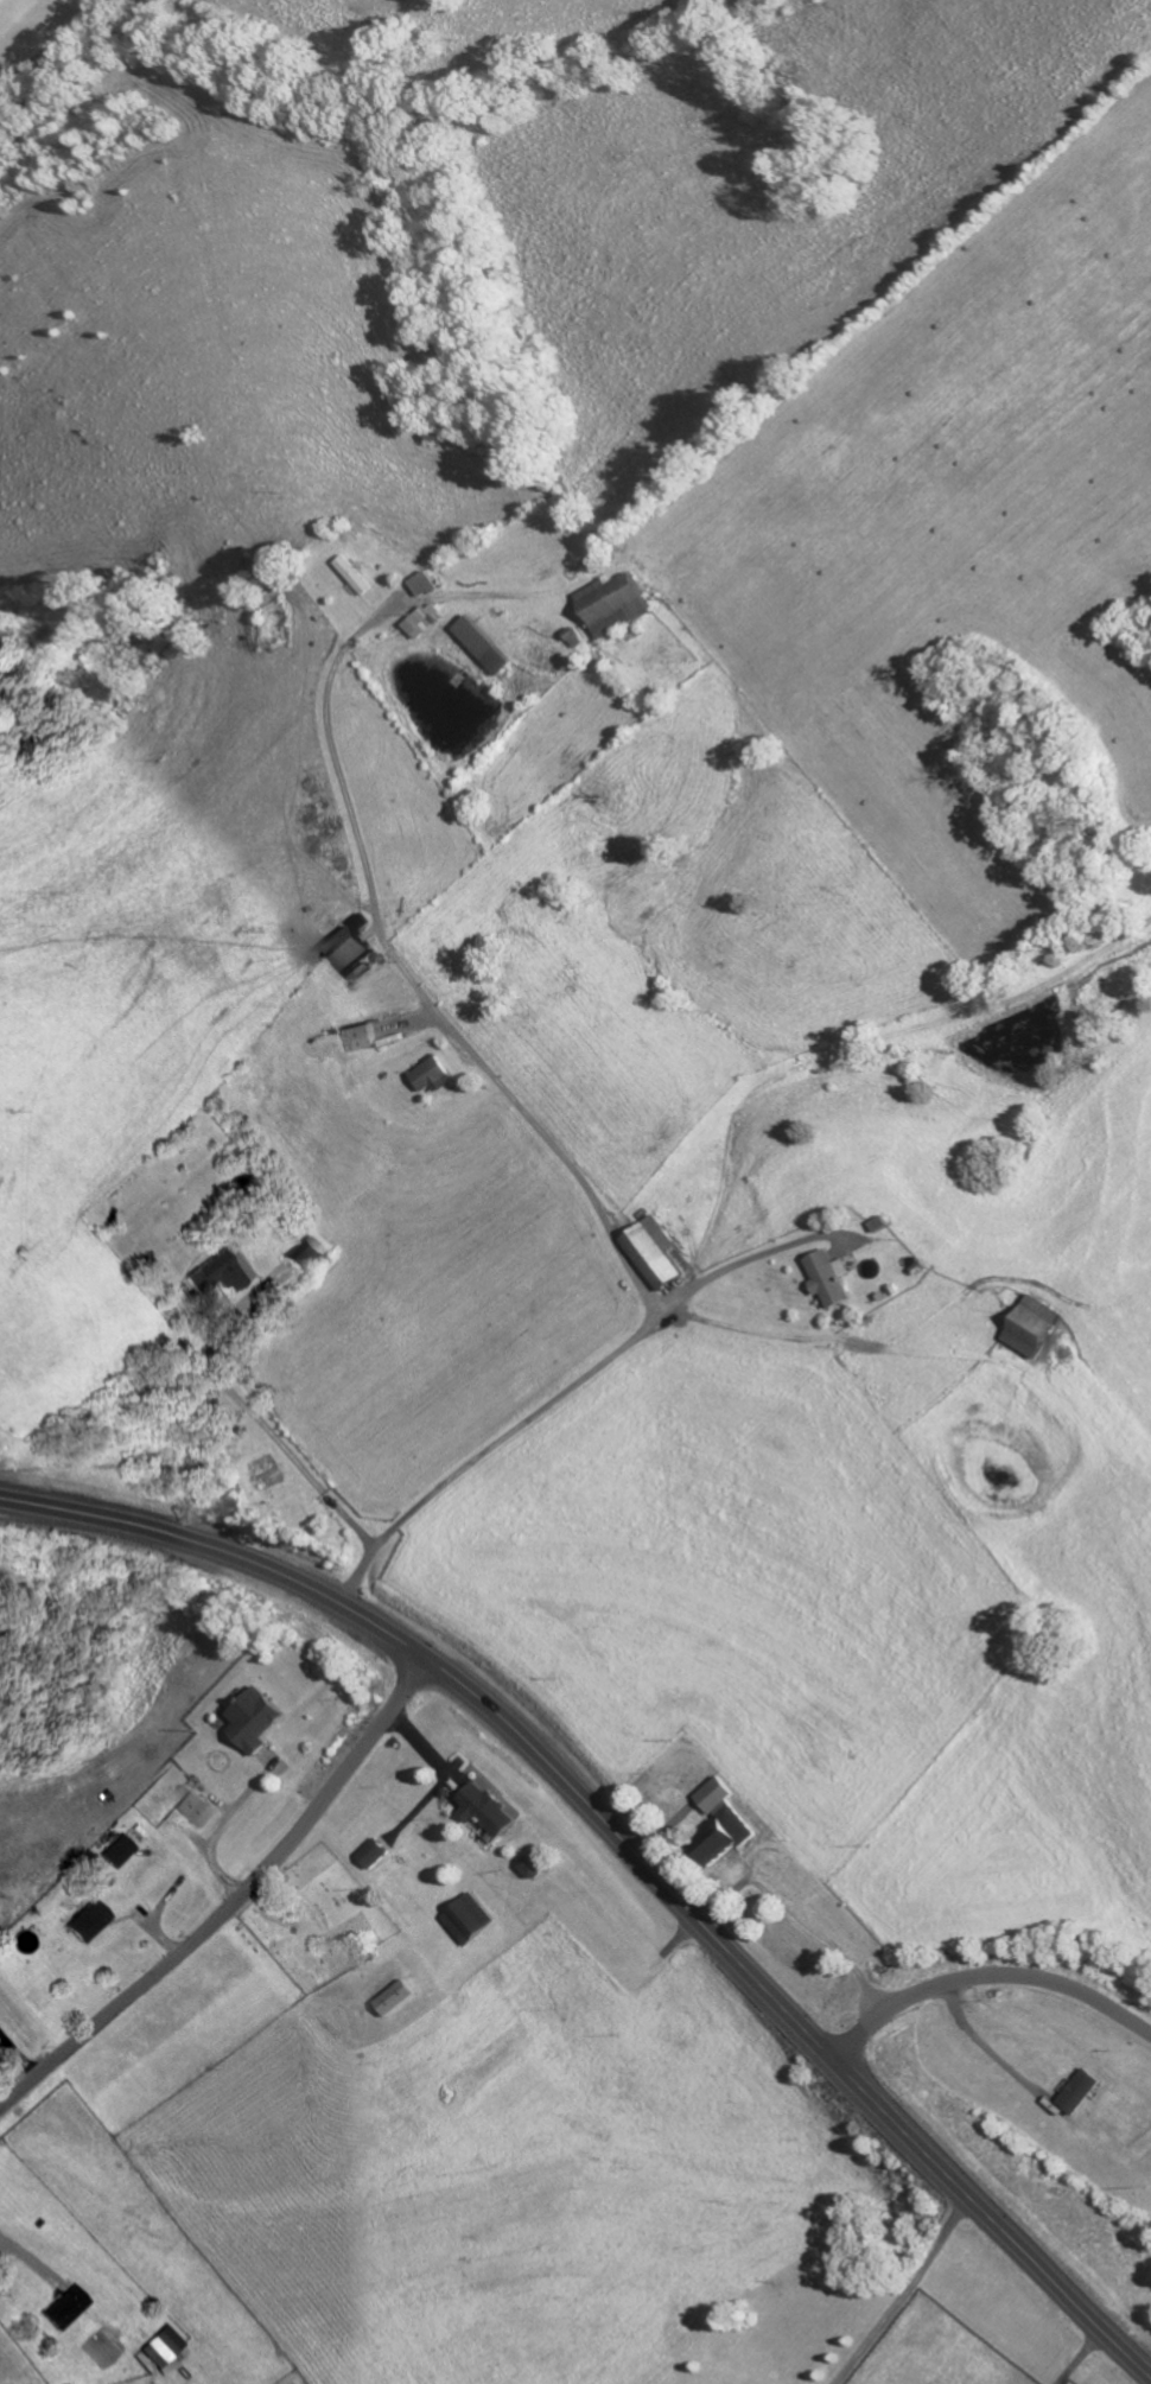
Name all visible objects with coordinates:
road: (56, 47)
building: (357, 576)
building: (427, 584)
road: (450, 596)
building: (621, 604)
building: (427, 621)
building: (488, 644)
building: (352, 953)
road: (422, 991)
building: (362, 1037)
building: (438, 1076)
building: (659, 1253)
building: (310, 1258)
road: (753, 1258)
building: (225, 1272)
building: (838, 1277)
building: (1041, 1328)
road: (853, 1342)
road: (254, 1416)
road: (489, 1449)
building: (262, 1721)
building: (724, 1797)
building: (195, 1807)
building: (491, 1811)
building: (731, 1838)
road: (632, 1849)
building: (117, 1852)
building: (376, 1855)
building: (535, 1868)
road: (233, 1902)
building: (472, 1921)
building: (87, 1922)
road: (990, 1975)
building: (403, 2000)
road: (991, 2039)
building: (1090, 2093)
road: (28, 2251)
road: (909, 2294)
building: (66, 2308)
building: (163, 2347)
road: (1087, 2359)

